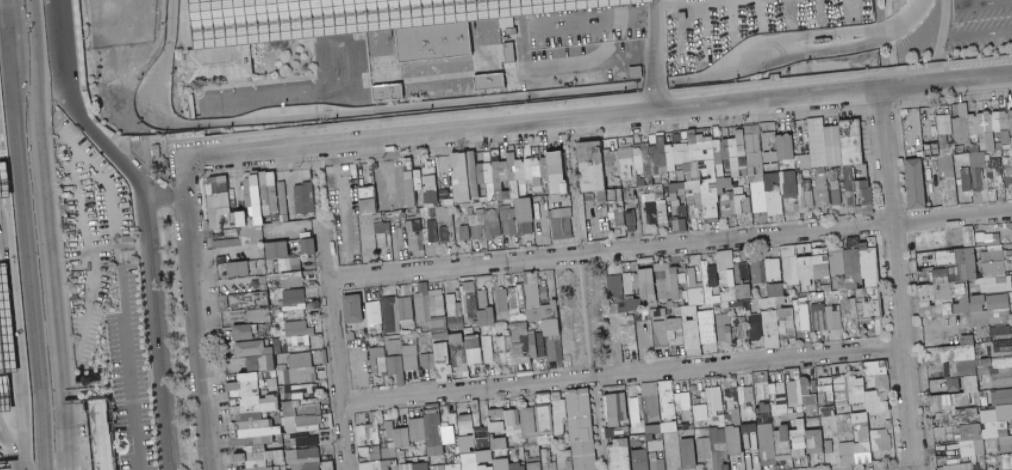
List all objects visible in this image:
road: (655, 1)
road: (984, 3)
road: (818, 9)
road: (849, 9)
road: (789, 11)
road: (759, 13)
building: (341, 16)
road: (729, 18)
road: (605, 20)
road: (653, 23)
road: (681, 24)
road: (704, 27)
road: (142, 29)
road: (107, 33)
road: (60, 38)
road: (962, 38)
road: (310, 40)
building: (435, 41)
road: (31, 44)
building: (899, 53)
building: (84, 61)
road: (121, 62)
road: (588, 62)
building: (221, 64)
building: (636, 72)
road: (85, 74)
road: (81, 75)
road: (115, 75)
building: (491, 81)
road: (832, 91)
building: (389, 92)
road: (108, 95)
road: (491, 100)
road: (652, 100)
building: (1006, 101)
building: (1002, 109)
building: (962, 110)
building: (992, 111)
building: (933, 113)
road: (396, 118)
building: (1009, 119)
building: (1003, 120)
building: (987, 121)
building: (995, 121)
building: (943, 123)
building: (979, 123)
building: (971, 124)
building: (960, 128)
building: (750, 129)
road: (427, 131)
building: (933, 131)
building: (690, 132)
building: (1010, 132)
building: (996, 133)
building: (659, 135)
building: (703, 135)
building: (980, 135)
building: (1004, 136)
building: (691, 138)
building: (702, 138)
building: (997, 138)
building: (766, 141)
building: (851, 141)
building: (941, 141)
building: (966, 141)
building: (989, 141)
building: (740, 143)
building: (752, 143)
building: (1011, 144)
building: (652, 145)
building: (637, 146)
building: (832, 146)
building: (998, 146)
road: (130, 147)
building: (784, 147)
building: (1005, 147)
building: (732, 148)
building: (542, 149)
building: (725, 149)
building: (930, 149)
building: (958, 149)
building: (599, 150)
building: (704, 150)
building: (716, 150)
building: (947, 150)
building: (510, 151)
building: (771, 151)
building: (693, 152)
building: (685, 153)
building: (677, 154)
building: (985, 154)
building: (1005, 154)
building: (661, 155)
building: (157, 156)
building: (481, 156)
building: (495, 156)
building: (536, 157)
building: (638, 157)
building: (669, 157)
building: (976, 157)
building: (1010, 157)
building: (796, 158)
road: (141, 160)
building: (653, 160)
building: (614, 161)
building: (625, 161)
building: (753, 161)
building: (1005, 161)
building: (472, 162)
building: (646, 162)
building: (717, 162)
building: (742, 162)
building: (606, 163)
building: (734, 163)
building: (726, 164)
building: (374, 165)
building: (678, 165)
building: (975, 165)
building: (564, 166)
building: (591, 166)
building: (535, 167)
building: (544, 167)
building: (686, 167)
building: (707, 167)
road: (181, 168)
building: (528, 169)
building: (639, 169)
building: (679, 169)
building: (354, 170)
building: (520, 170)
building: (694, 170)
building: (504, 171)
building: (703, 171)
building: (745, 171)
road: (143, 172)
building: (488, 172)
building: (555, 172)
building: (427, 173)
building: (481, 173)
building: (496, 173)
building: (735, 173)
building: (856, 173)
building: (472, 174)
building: (512, 175)
building: (1007, 175)
building: (679, 176)
building: (685, 176)
building: (689, 176)
building: (798, 176)
building: (247, 177)
building: (993, 177)
road: (170, 178)
building: (703, 178)
building: (751, 178)
building: (759, 178)
building: (852, 178)
building: (262, 179)
building: (271, 179)
building: (417, 179)
building: (965, 179)
building: (976, 179)
building: (770, 180)
building: (946, 180)
building: (529, 181)
building: (537, 181)
building: (544, 181)
building: (640, 181)
building: (805, 181)
building: (521, 182)
road: (321, 183)
building: (409, 183)
building: (429, 183)
building: (818, 183)
building: (915, 183)
road: (104, 184)
road: (335, 184)
building: (723, 184)
building: (787, 184)
building: (618, 185)
building: (776, 185)
building: (834, 185)
building: (6, 186)
building: (497, 186)
building: (692, 186)
building: (222, 187)
building: (474, 188)
building: (565, 188)
building: (538, 189)
building: (800, 189)
building: (482, 190)
building: (676, 190)
building: (738, 190)
building: (256, 191)
building: (467, 191)
building: (709, 191)
building: (745, 191)
building: (248, 192)
building: (366, 192)
building: (456, 192)
building: (688, 192)
building: (592, 193)
road: (166, 194)
road: (160, 195)
building: (264, 195)
building: (506, 195)
building: (601, 195)
building: (443, 196)
building: (246, 197)
building: (431, 197)
building: (758, 197)
building: (806, 197)
building: (272, 198)
building: (282, 198)
building: (303, 198)
building: (499, 198)
building: (649, 198)
building: (770, 198)
building: (463, 199)
building: (613, 199)
building: (694, 199)
building: (680, 200)
building: (217, 201)
building: (449, 202)
building: (257, 204)
building: (428, 204)
building: (436, 204)
building: (727, 204)
building: (738, 204)
building: (368, 206)
building: (406, 207)
building: (505, 207)
building: (679, 208)
road: (157, 210)
building: (265, 210)
building: (523, 210)
building: (405, 211)
building: (469, 211)
building: (490, 211)
building: (660, 211)
building: (250, 212)
building: (366, 212)
building: (565, 212)
building: (650, 212)
building: (432, 213)
building: (444, 213)
building: (553, 213)
building: (259, 216)
building: (265, 217)
building: (476, 217)
building: (234, 218)
building: (242, 219)
road: (141, 220)
building: (251, 220)
building: (258, 220)
building: (630, 220)
building: (220, 221)
building: (509, 222)
building: (489, 224)
building: (235, 225)
building: (414, 226)
parking lot: (91, 228)
building: (380, 229)
building: (432, 231)
building: (230, 232)
road: (25, 234)
road: (82, 234)
building: (250, 234)
building: (414, 236)
building: (366, 237)
building: (989, 239)
building: (227, 243)
road: (114, 244)
road: (49, 246)
building: (309, 246)
building: (284, 256)
road: (154, 258)
building: (944, 259)
building: (840, 263)
building: (790, 264)
building: (727, 268)
building: (774, 268)
building: (239, 269)
building: (746, 270)
building: (759, 272)
road: (895, 278)
building: (291, 279)
building: (658, 282)
building: (816, 287)
building: (862, 287)
building: (745, 291)
building: (974, 291)
road: (588, 293)
building: (775, 295)
building: (690, 298)
building: (470, 300)
building: (504, 300)
building: (423, 302)
building: (295, 304)
building: (453, 304)
building: (635, 304)
building: (407, 308)
building: (354, 309)
building: (486, 310)
road: (5, 311)
building: (375, 312)
building: (806, 313)
building: (391, 314)
building: (439, 314)
building: (661, 315)
building: (260, 316)
building: (835, 317)
building: (6, 318)
building: (455, 322)
building: (709, 325)
building: (725, 327)
building: (780, 328)
building: (743, 331)
road: (194, 332)
building: (244, 332)
building: (300, 336)
building: (457, 338)
road: (178, 341)
building: (523, 344)
road: (336, 346)
building: (475, 349)
building: (488, 349)
building: (257, 355)
road: (154, 356)
road: (123, 357)
building: (402, 359)
building: (379, 360)
building: (878, 366)
building: (301, 368)
building: (948, 386)
building: (304, 390)
building: (869, 391)
building: (793, 392)
building: (808, 392)
building: (1003, 403)
building: (828, 404)
building: (969, 404)
building: (313, 406)
building: (617, 409)
building: (638, 410)
building: (452, 415)
building: (537, 421)
building: (257, 423)
building: (305, 424)
building: (671, 427)
building: (486, 428)
building: (750, 428)
building: (583, 429)
building: (430, 431)
building: (653, 431)
building: (451, 434)
building: (106, 435)
building: (395, 440)
building: (735, 440)
building: (816, 441)
building: (372, 442)
building: (859, 442)
building: (501, 443)
building: (784, 443)
building: (768, 444)
building: (706, 448)
building: (720, 449)
road: (9, 450)
building: (689, 454)
building: (487, 457)
building: (306, 459)
building: (566, 460)
building: (474, 462)
building: (1005, 462)
building: (509, 465)
building: (416, 466)
building: (455, 467)
building: (962, 467)

